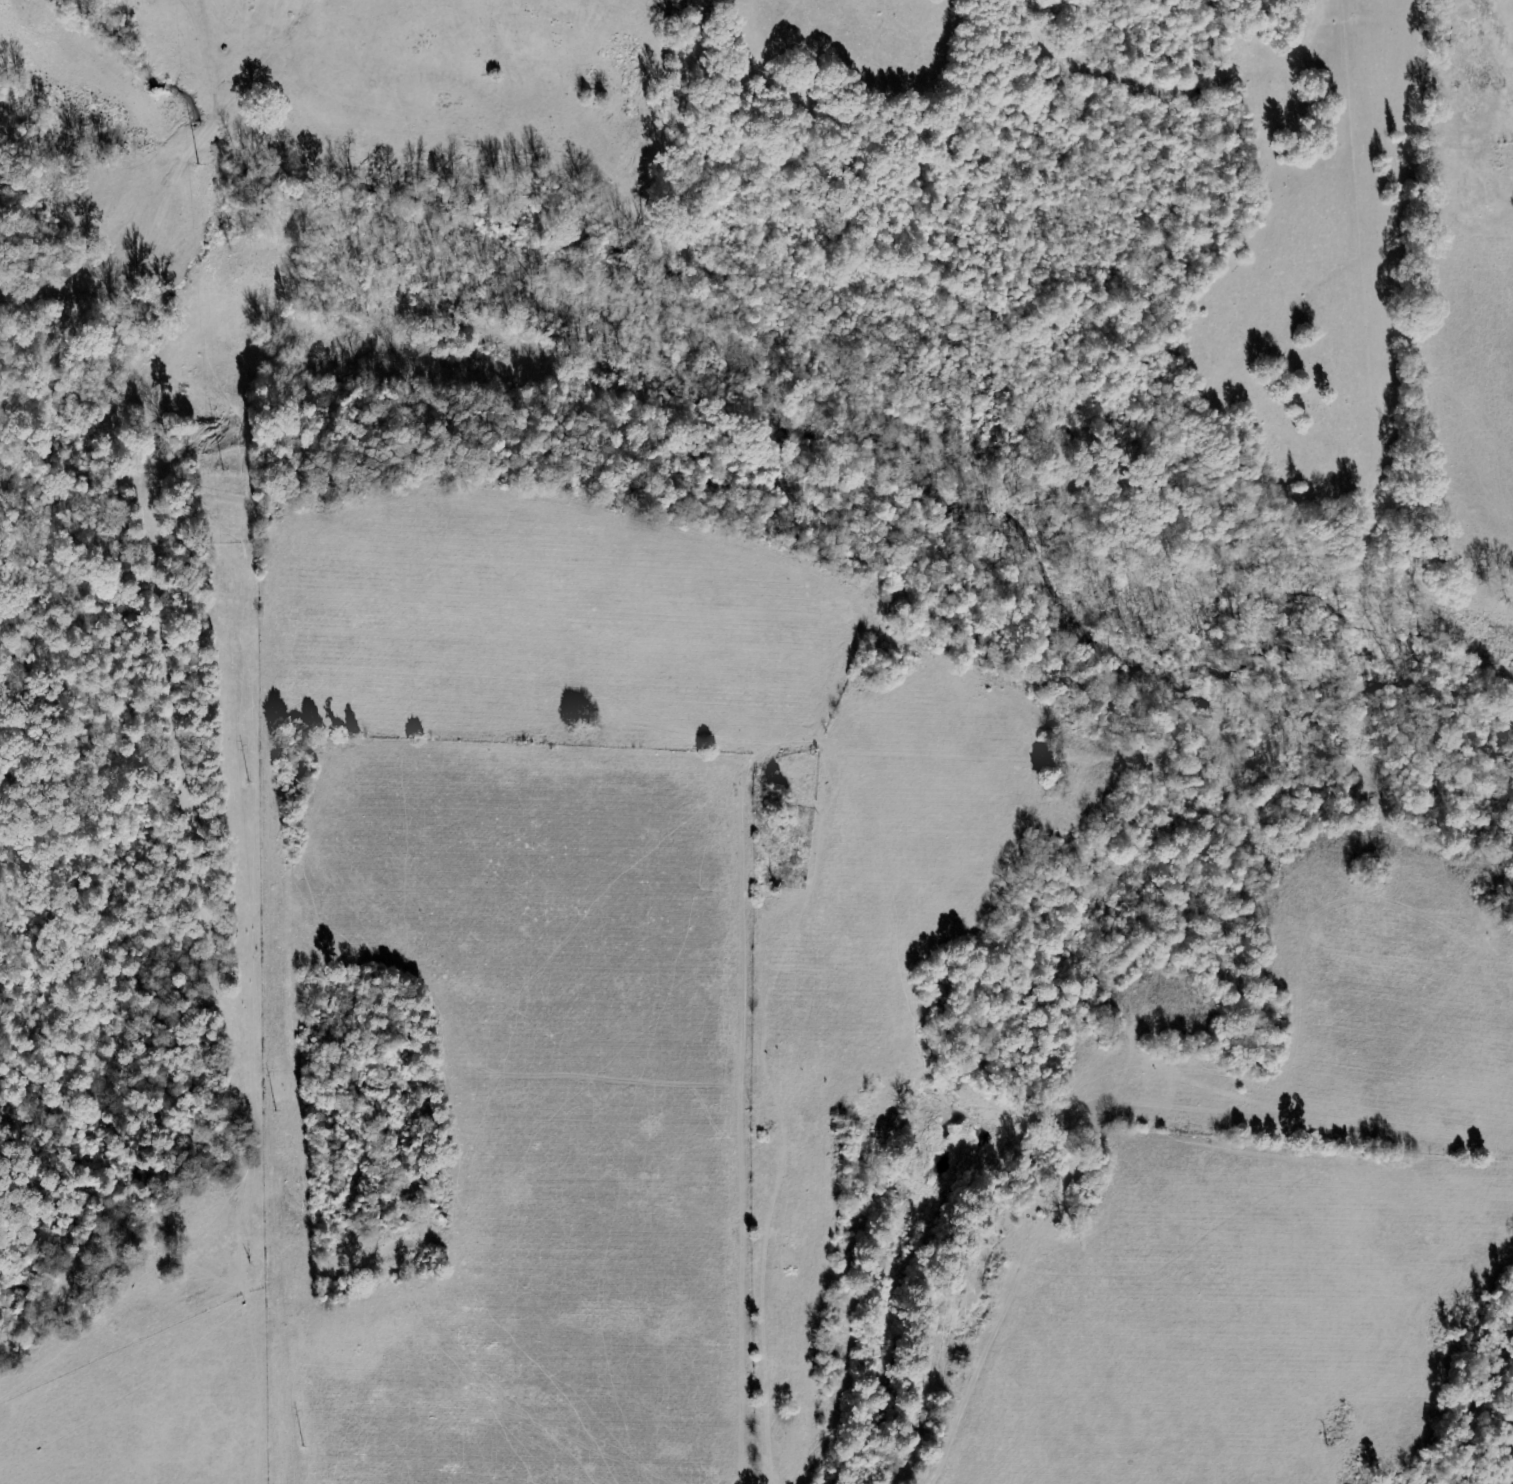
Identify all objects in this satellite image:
road: (1471, 1394)

